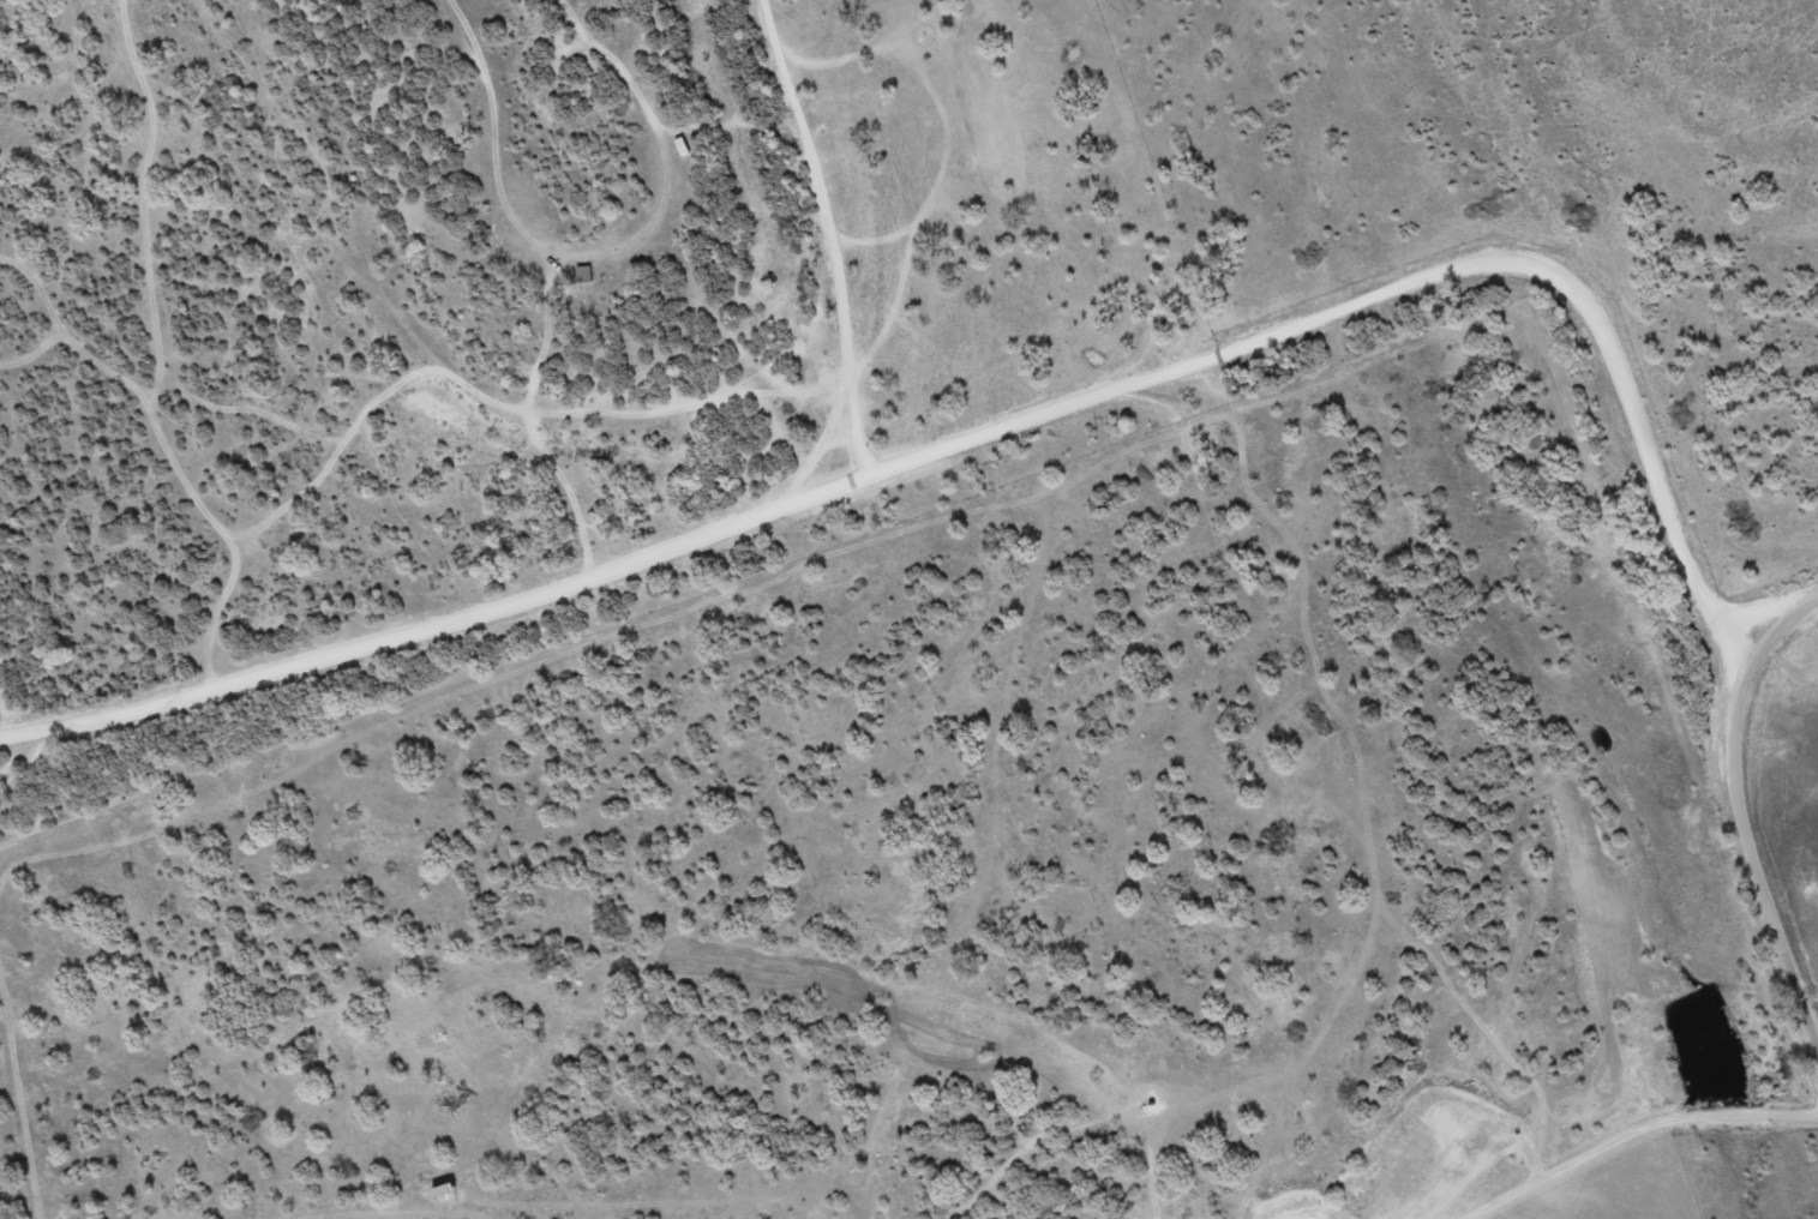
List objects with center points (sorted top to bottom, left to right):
road: (1040, 196)
road: (985, 432)
road: (1734, 825)

